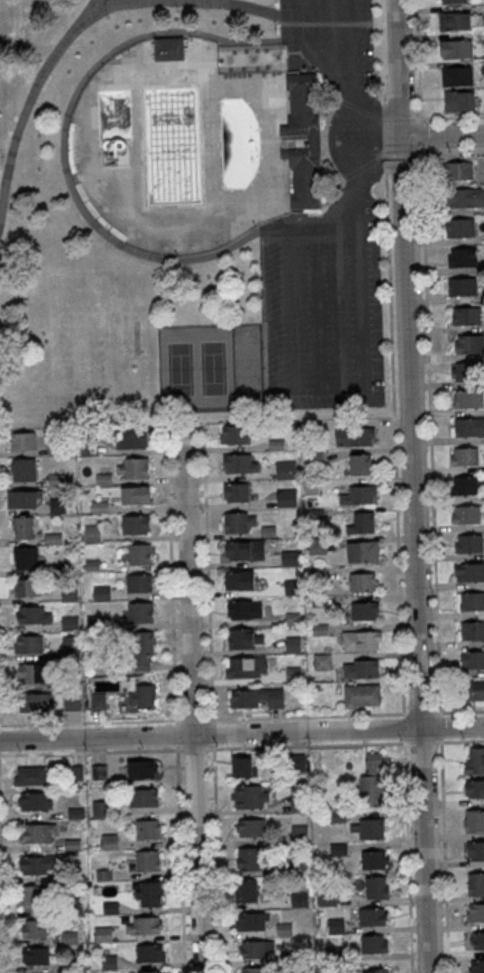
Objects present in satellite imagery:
road: (107, 0)
building: (452, 1)
road: (206, 2)
building: (460, 20)
building: (168, 49)
building: (457, 49)
road: (419, 61)
building: (457, 76)
road: (348, 86)
road: (33, 90)
building: (459, 101)
road: (450, 116)
road: (376, 117)
road: (421, 135)
road: (442, 138)
road: (379, 139)
building: (301, 142)
road: (451, 153)
road: (379, 158)
building: (459, 170)
road: (342, 177)
building: (465, 197)
road: (339, 199)
park: (192, 212)
road: (270, 225)
road: (272, 226)
building: (460, 227)
parking lot: (328, 237)
road: (115, 241)
building: (464, 258)
road: (362, 271)
building: (462, 286)
building: (466, 316)
building: (471, 345)
park: (247, 366)
park: (196, 368)
building: (469, 372)
building: (469, 398)
building: (466, 428)
road: (431, 433)
building: (235, 435)
building: (355, 436)
road: (395, 436)
building: (23, 440)
building: (134, 440)
building: (466, 457)
building: (240, 463)
building: (360, 464)
building: (132, 468)
building: (23, 469)
building: (286, 470)
road: (411, 486)
building: (465, 486)
building: (236, 492)
building: (362, 494)
building: (136, 496)
building: (287, 498)
building: (24, 499)
building: (468, 515)
building: (363, 521)
building: (239, 522)
building: (136, 525)
building: (22, 527)
building: (92, 533)
building: (470, 544)
building: (317, 545)
building: (238, 550)
building: (363, 551)
building: (139, 554)
building: (26, 558)
building: (290, 558)
road: (208, 572)
road: (171, 573)
building: (470, 573)
building: (239, 580)
building: (363, 581)
building: (140, 583)
building: (27, 587)
building: (69, 592)
building: (101, 593)
building: (471, 602)
building: (243, 609)
building: (365, 610)
building: (140, 612)
building: (33, 614)
building: (69, 622)
building: (472, 631)
building: (242, 638)
building: (362, 639)
building: (28, 644)
building: (293, 644)
building: (71, 646)
building: (145, 651)
building: (472, 659)
building: (322, 661)
building: (247, 667)
building: (361, 668)
building: (31, 673)
building: (474, 691)
building: (362, 695)
building: (142, 697)
building: (257, 698)
road: (191, 699)
building: (35, 701)
building: (98, 702)
building: (72, 703)
road: (459, 712)
road: (422, 713)
road: (306, 716)
road: (194, 721)
road: (91, 722)
road: (213, 722)
road: (176, 723)
road: (403, 727)
road: (440, 728)
road: (213, 734)
road: (241, 734)
road: (176, 736)
road: (461, 741)
road: (423, 742)
road: (307, 746)
road: (195, 751)
road: (91, 753)
building: (475, 760)
building: (297, 763)
building: (243, 766)
building: (142, 769)
building: (31, 775)
building: (373, 780)
building: (475, 788)
building: (144, 797)
building: (250, 797)
building: (299, 797)
building: (35, 802)
building: (337, 817)
building: (474, 820)
building: (250, 827)
building: (367, 828)
building: (148, 829)
building: (300, 833)
building: (37, 835)
building: (337, 848)
building: (476, 849)
road: (407, 855)
road: (444, 855)
road: (217, 859)
building: (249, 859)
building: (375, 859)
building: (147, 860)
road: (180, 860)
building: (34, 866)
building: (476, 883)
building: (378, 887)
building: (246, 890)
building: (148, 893)
road: (2, 895)
building: (32, 897)
building: (299, 899)
building: (475, 912)
building: (373, 918)
building: (252, 923)
building: (336, 925)
building: (147, 927)
building: (35, 930)
building: (477, 940)
building: (375, 945)
building: (255, 951)
building: (150, 955)
building: (37, 957)
building: (476, 966)
building: (257, 970)
building: (376, 970)
building: (154, 972)

